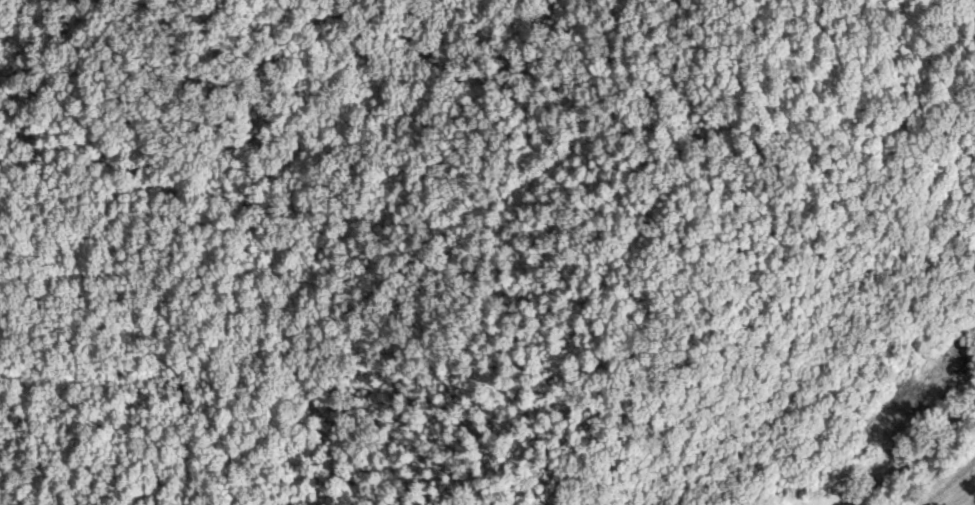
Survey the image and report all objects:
road: (913, 445)

